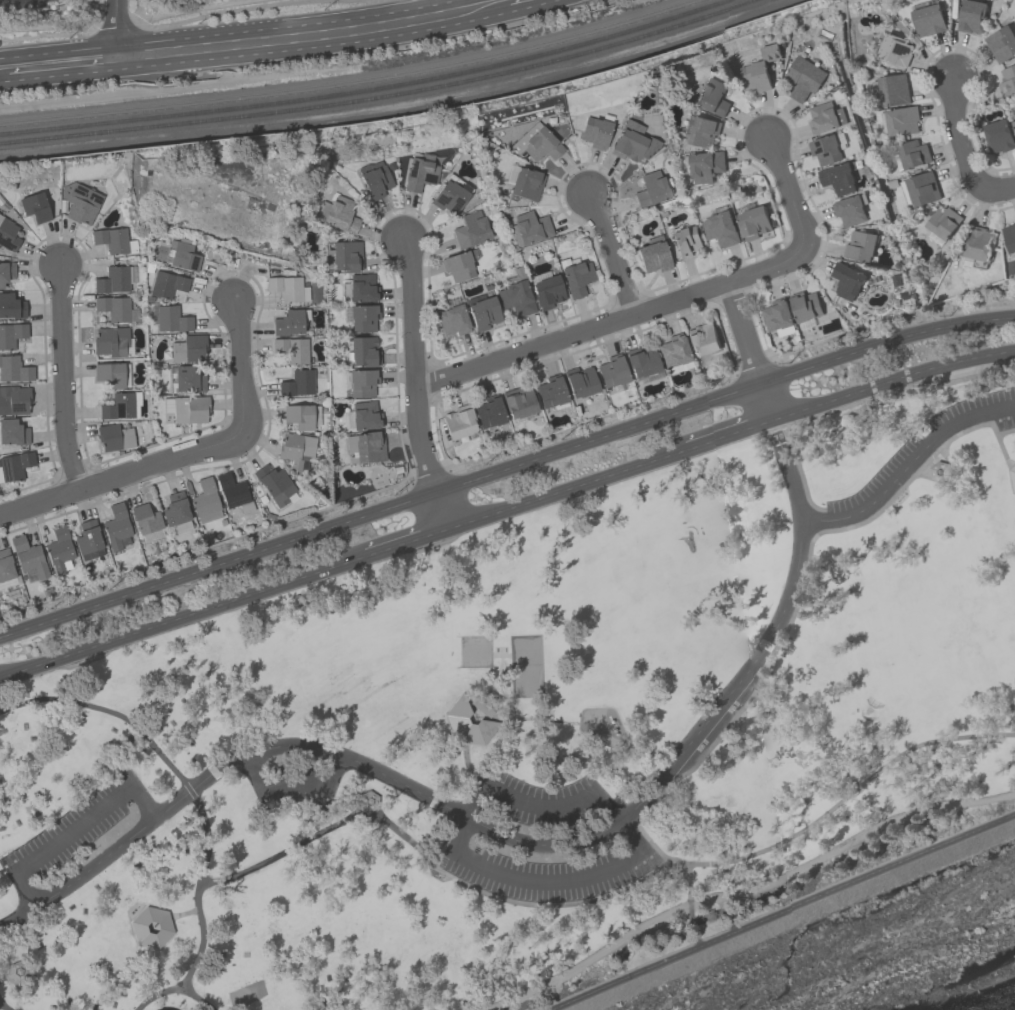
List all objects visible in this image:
road: (499, 10)
building: (971, 16)
building: (928, 20)
road: (216, 32)
road: (115, 33)
building: (1001, 44)
road: (289, 48)
building: (895, 50)
building: (759, 70)
road: (57, 73)
building: (803, 78)
building: (1007, 81)
railway: (351, 82)
railway: (365, 88)
building: (893, 90)
railway: (380, 94)
building: (712, 96)
building: (825, 118)
building: (901, 121)
building: (1013, 125)
road: (957, 130)
building: (595, 131)
building: (703, 131)
building: (998, 136)
building: (633, 141)
building: (536, 142)
building: (825, 149)
building: (913, 154)
building: (705, 166)
building: (420, 173)
building: (837, 177)
building: (376, 181)
building: (526, 183)
building: (651, 188)
building: (923, 189)
road: (992, 191)
building: (450, 194)
building: (79, 202)
building: (34, 206)
building: (850, 210)
building: (340, 214)
building: (754, 223)
building: (944, 223)
building: (529, 227)
building: (720, 228)
building: (470, 229)
building: (7, 234)
building: (1009, 237)
building: (110, 239)
building: (686, 242)
building: (860, 246)
building: (980, 246)
road: (611, 249)
building: (177, 255)
building: (343, 256)
building: (653, 256)
building: (457, 265)
building: (6, 271)
building: (577, 277)
building: (112, 279)
building: (847, 281)
building: (166, 284)
building: (285, 287)
building: (357, 287)
building: (547, 291)
building: (515, 292)
road: (667, 300)
building: (805, 305)
building: (11, 306)
building: (115, 308)
building: (482, 311)
building: (777, 315)
building: (363, 317)
building: (171, 318)
building: (452, 319)
building: (288, 322)
road: (744, 333)
building: (11, 334)
building: (702, 339)
building: (110, 341)
road: (886, 344)
building: (188, 348)
building: (291, 349)
building: (363, 350)
building: (673, 350)
building: (641, 360)
road: (413, 366)
road: (239, 367)
building: (13, 368)
building: (612, 370)
building: (109, 373)
road: (62, 376)
building: (188, 378)
building: (580, 381)
building: (297, 382)
building: (362, 382)
road: (893, 383)
building: (551, 390)
building: (14, 399)
building: (519, 402)
road: (768, 403)
building: (117, 405)
building: (189, 409)
building: (488, 411)
building: (298, 415)
building: (364, 415)
building: (458, 421)
building: (13, 431)
road: (1005, 432)
building: (114, 436)
road: (730, 436)
road: (598, 439)
road: (791, 440)
building: (368, 446)
building: (290, 449)
road: (1012, 463)
building: (14, 465)
road: (909, 466)
road: (1012, 468)
road: (791, 472)
road: (920, 472)
building: (940, 472)
road: (118, 475)
building: (1013, 477)
road: (1011, 482)
building: (273, 483)
building: (231, 489)
road: (567, 490)
building: (205, 500)
building: (174, 509)
road: (441, 511)
building: (144, 518)
building: (115, 525)
building: (88, 539)
road: (406, 542)
building: (58, 547)
building: (27, 555)
building: (5, 565)
road: (217, 566)
road: (183, 616)
park: (476, 650)
park: (526, 665)
building: (473, 717)
road: (504, 717)
road: (734, 717)
park: (533, 736)
road: (467, 767)
road: (289, 787)
road: (850, 794)
road: (197, 803)
road: (319, 806)
road: (458, 814)
road: (72, 829)
road: (445, 842)
road: (2, 853)
road: (636, 855)
road: (429, 860)
road: (688, 880)
road: (744, 891)
road: (783, 912)
road: (183, 913)
building: (152, 926)
road: (172, 932)
river: (960, 985)
road: (198, 995)
road: (4, 1007)

